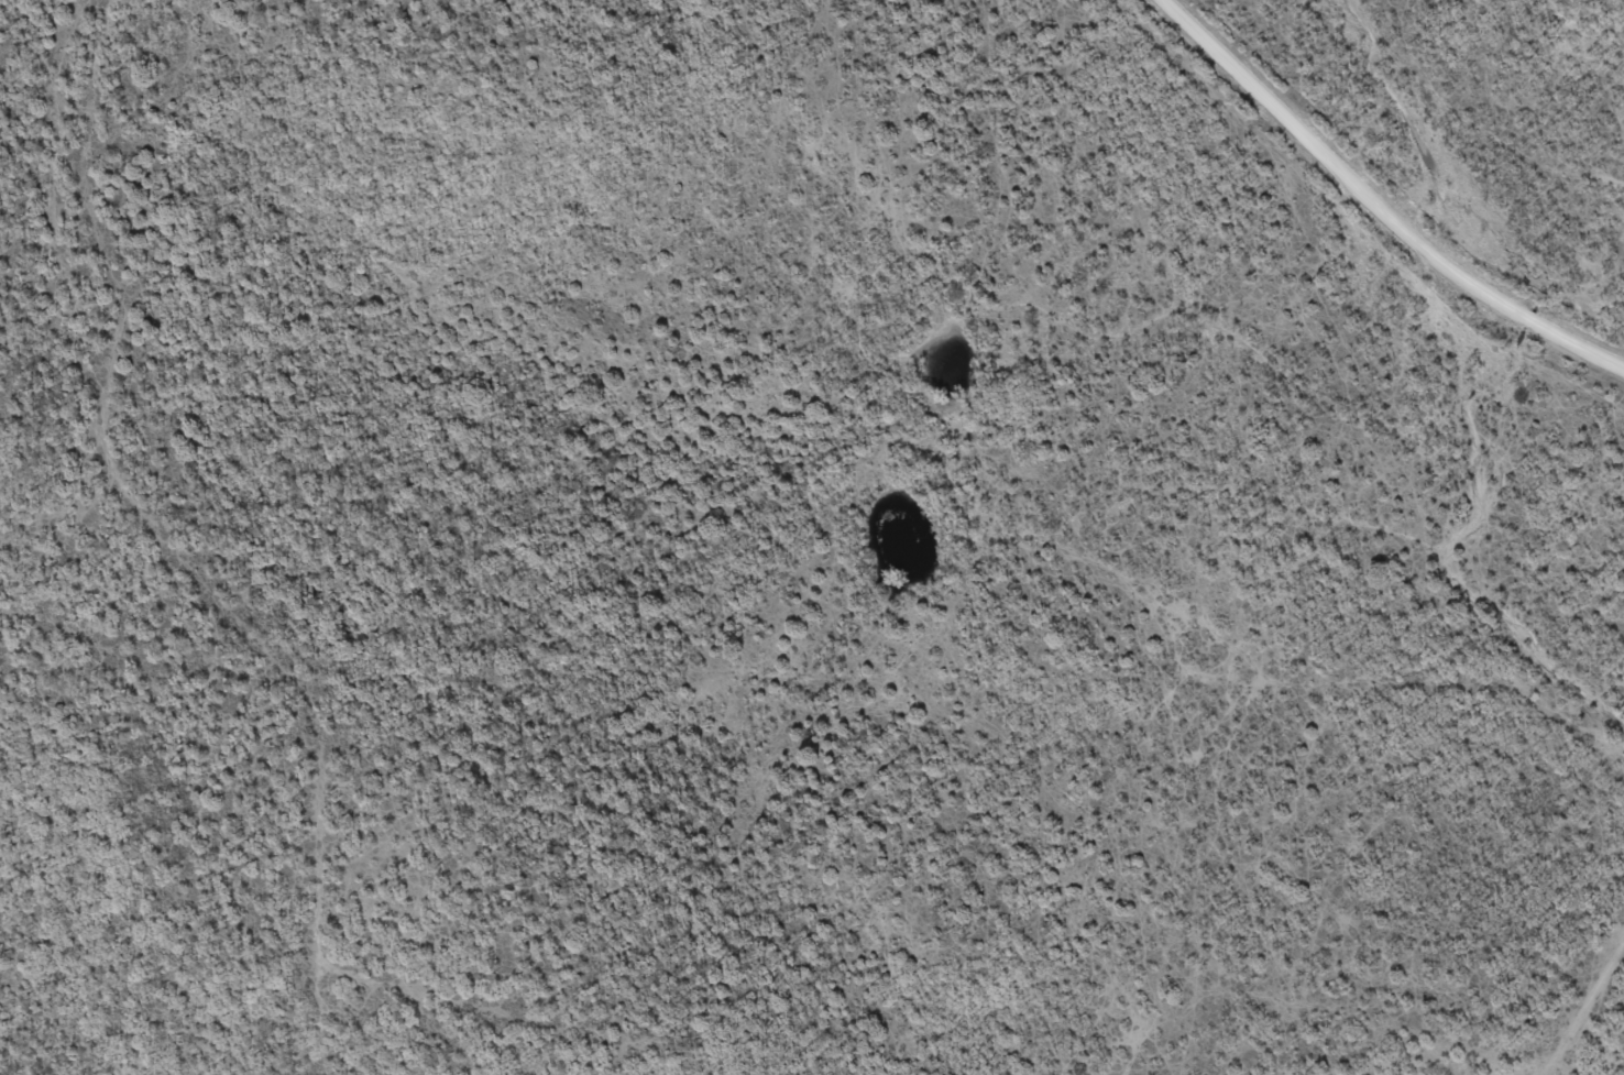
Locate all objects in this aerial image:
road: (1372, 212)

